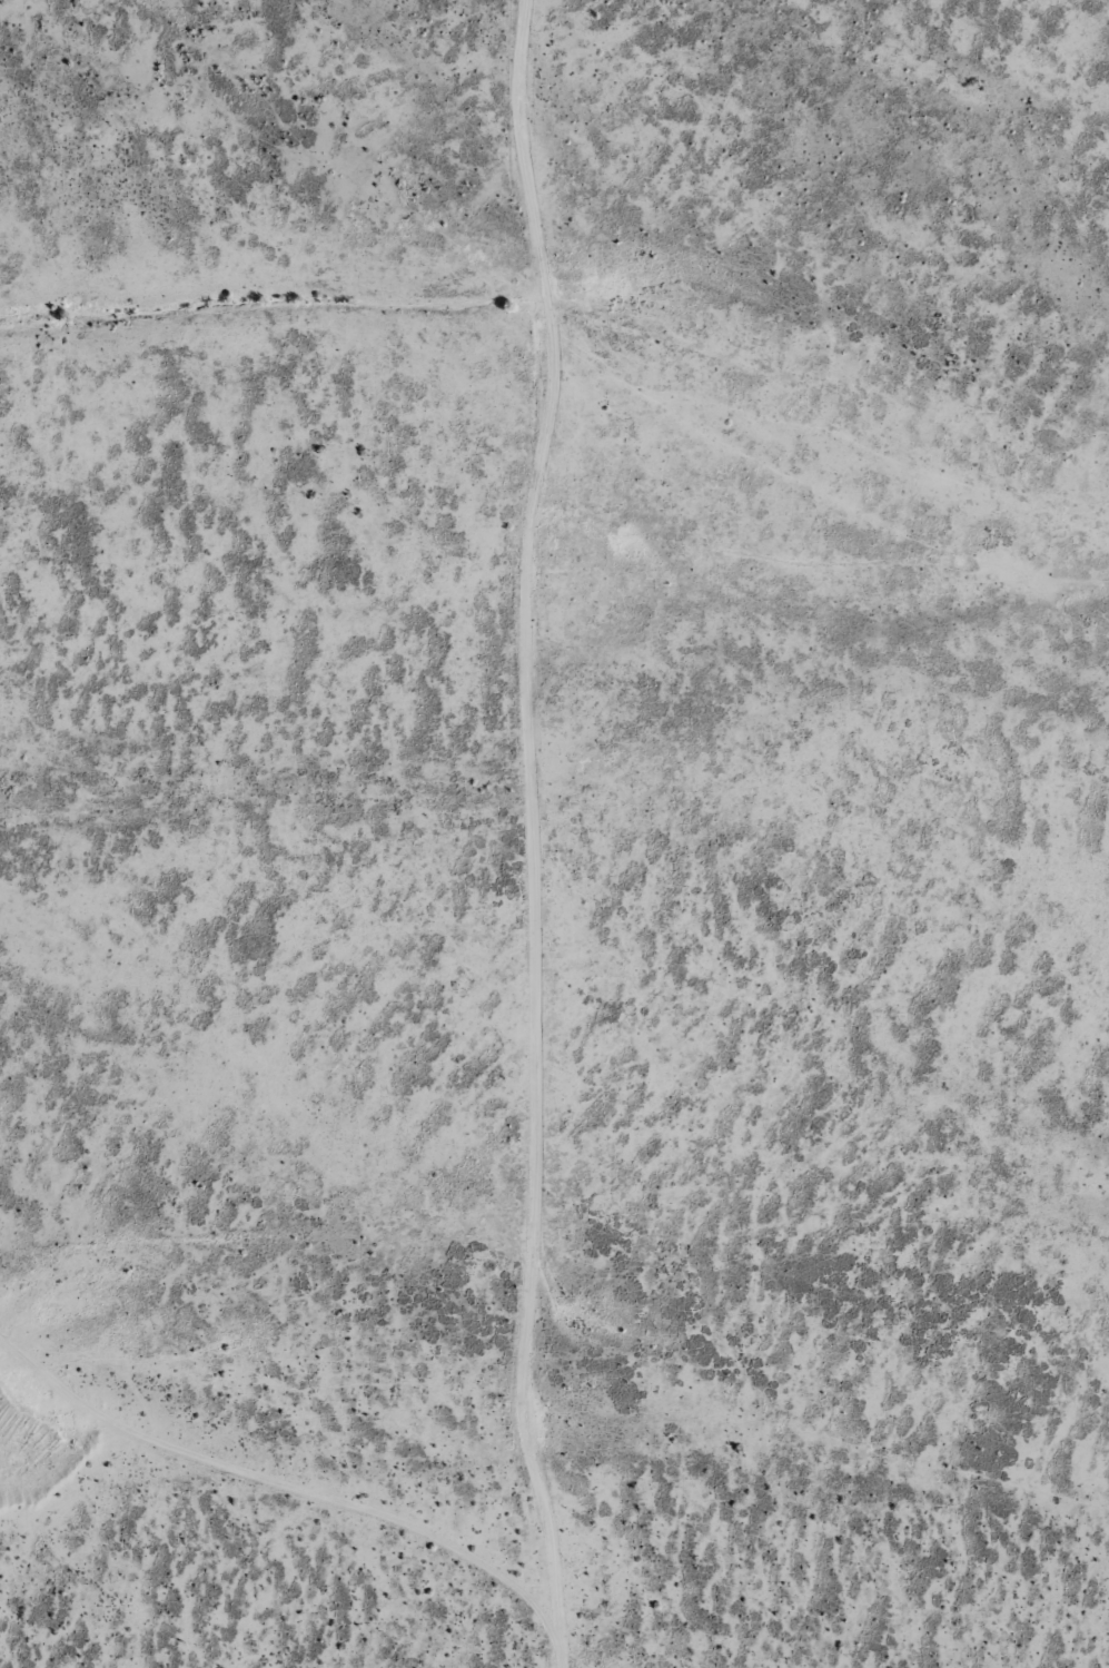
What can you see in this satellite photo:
road: (532, 836)
road: (267, 1510)

